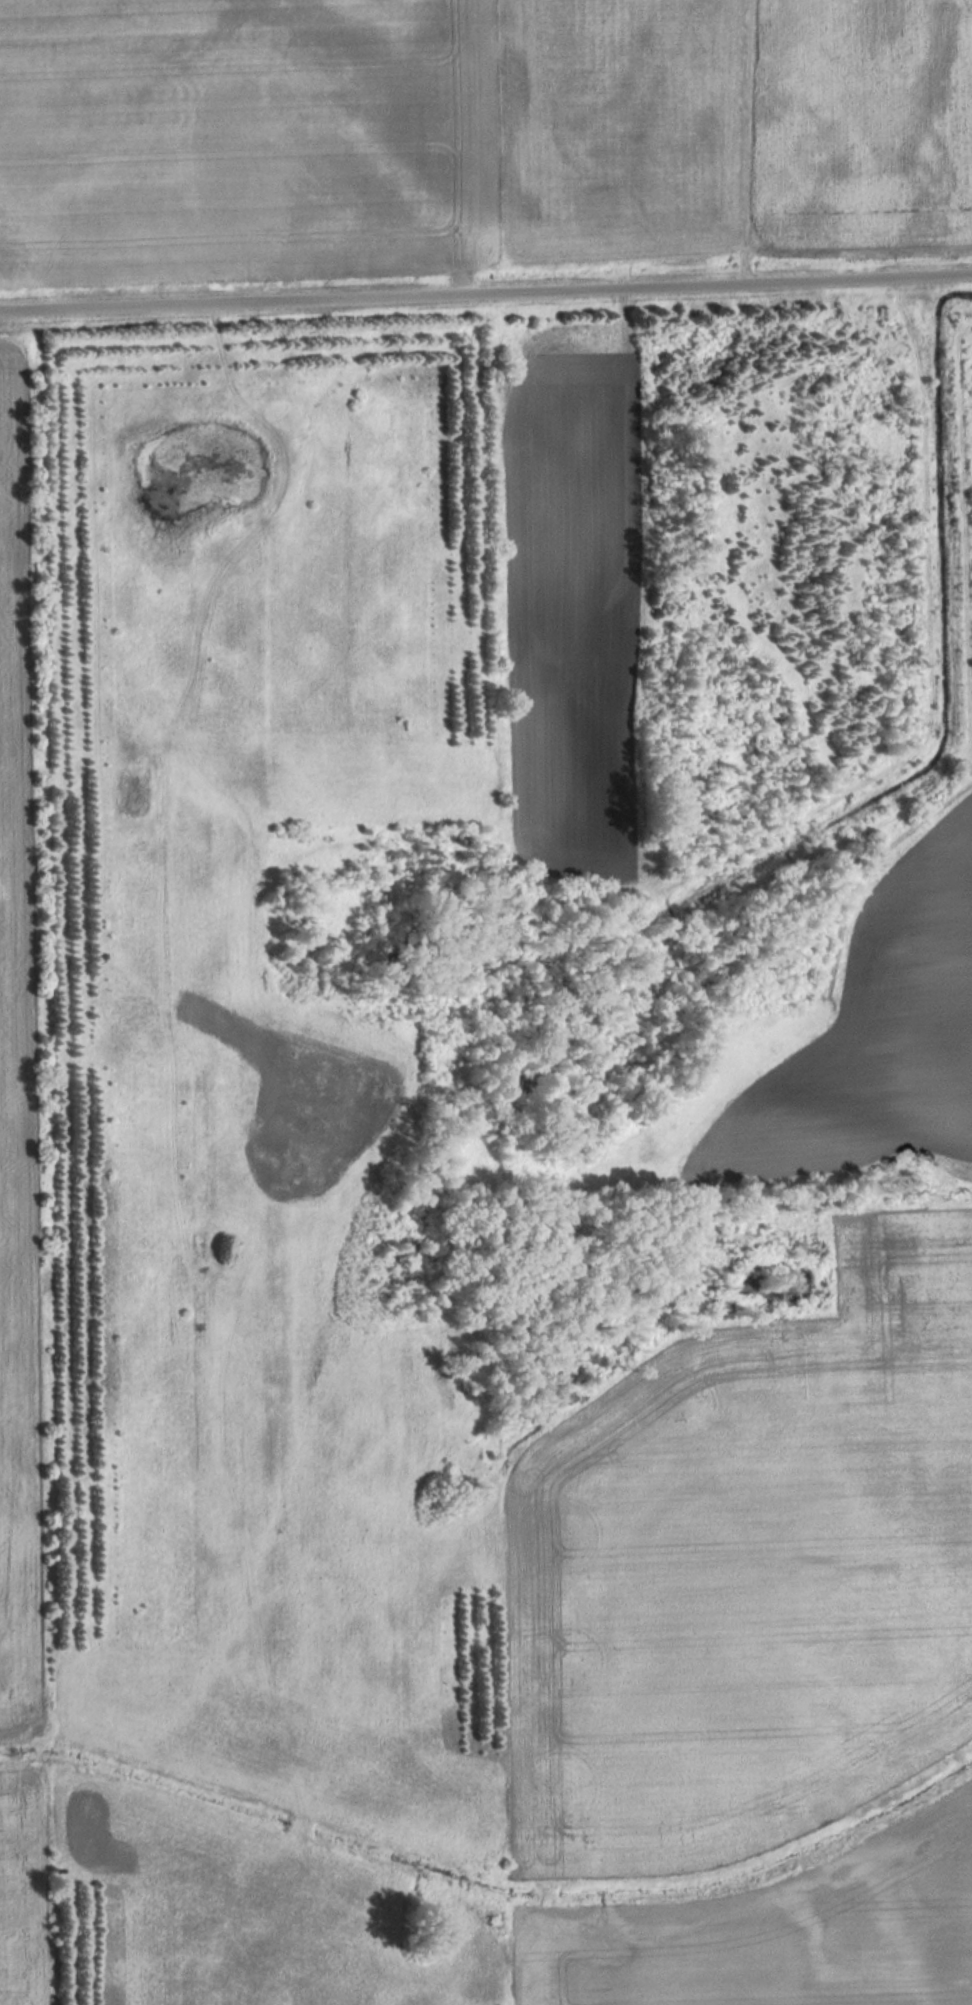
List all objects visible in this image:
road: (486, 295)

